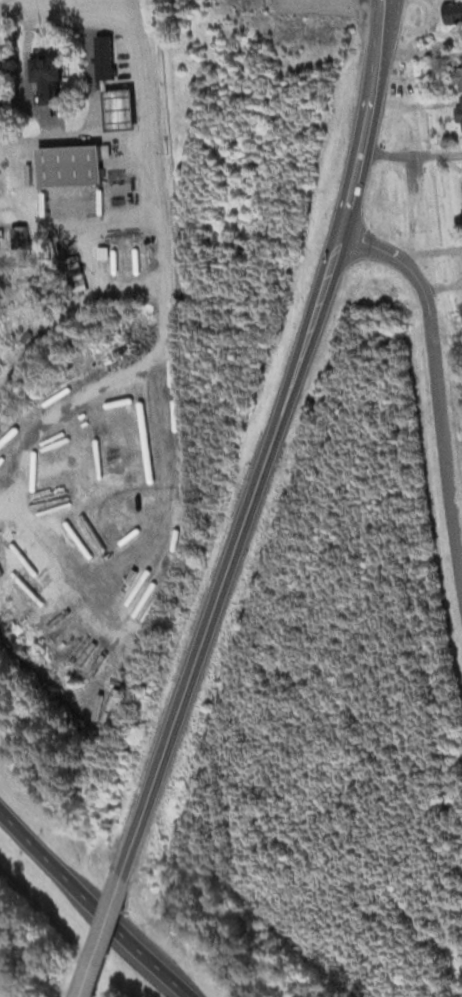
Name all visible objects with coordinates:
road: (21, 1)
building: (453, 12)
building: (48, 74)
building: (458, 76)
building: (461, 97)
building: (124, 109)
building: (459, 112)
road: (365, 116)
road: (411, 154)
building: (72, 164)
building: (12, 175)
road: (157, 205)
building: (85, 283)
road: (434, 391)
road: (230, 552)
road: (92, 905)
road: (106, 937)

